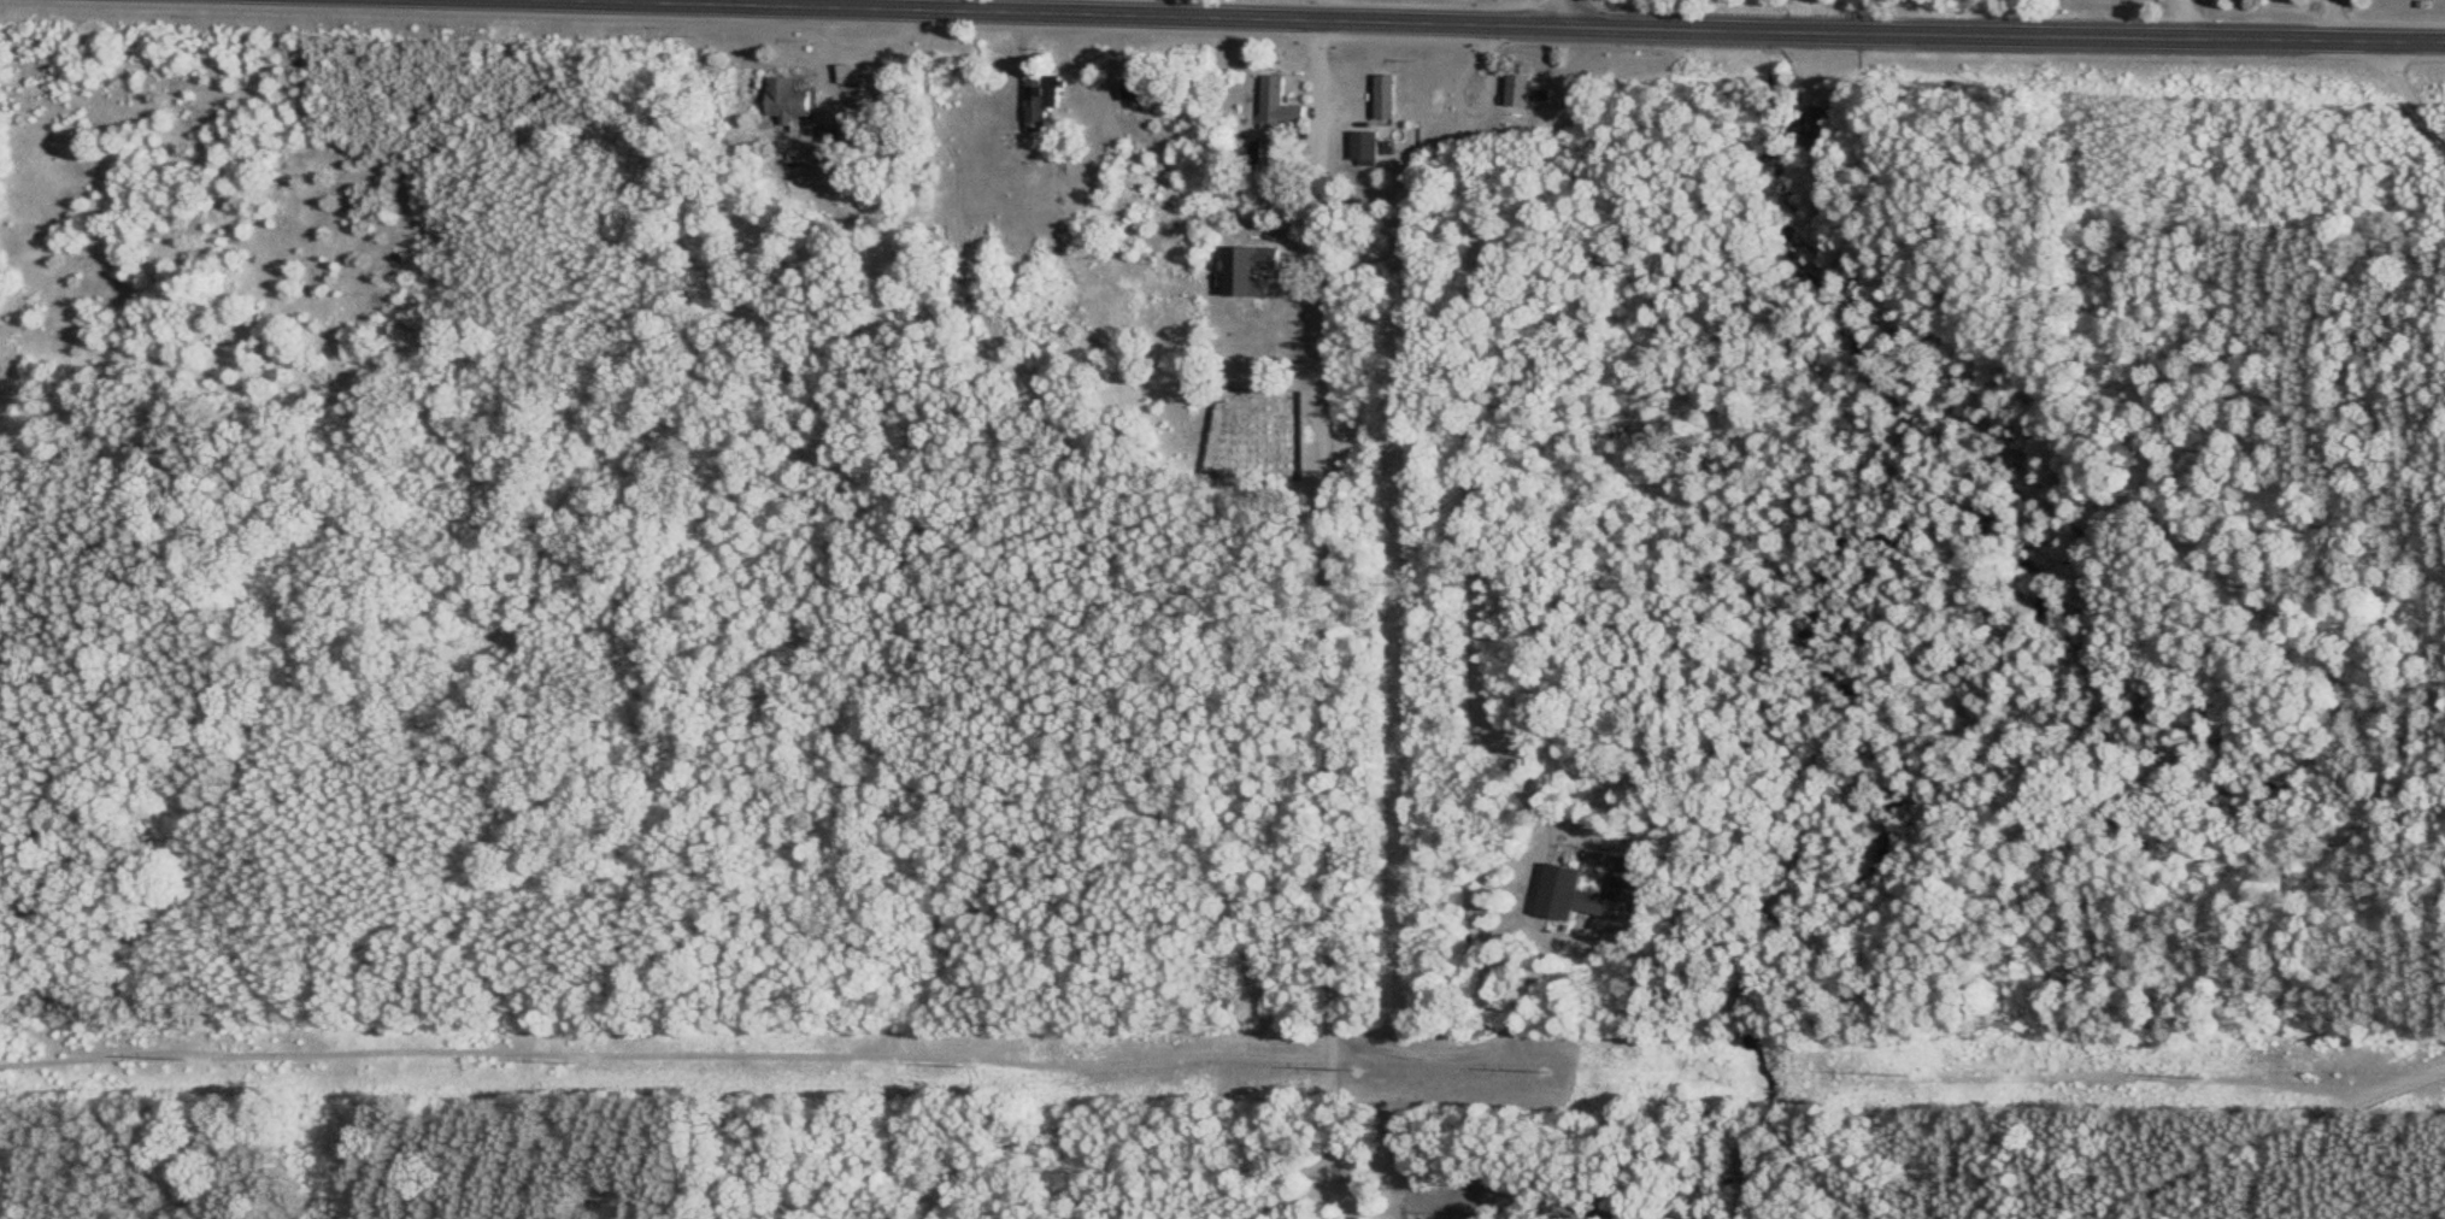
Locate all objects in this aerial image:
road: (1559, 13)
road: (1493, 24)
building: (845, 75)
building: (1516, 90)
road: (2405, 92)
building: (1382, 96)
building: (783, 100)
building: (1276, 106)
building: (1033, 110)
building: (1364, 148)
building: (1258, 153)
road: (1320, 619)
road: (1470, 638)
building: (1582, 894)
road: (2238, 1141)

